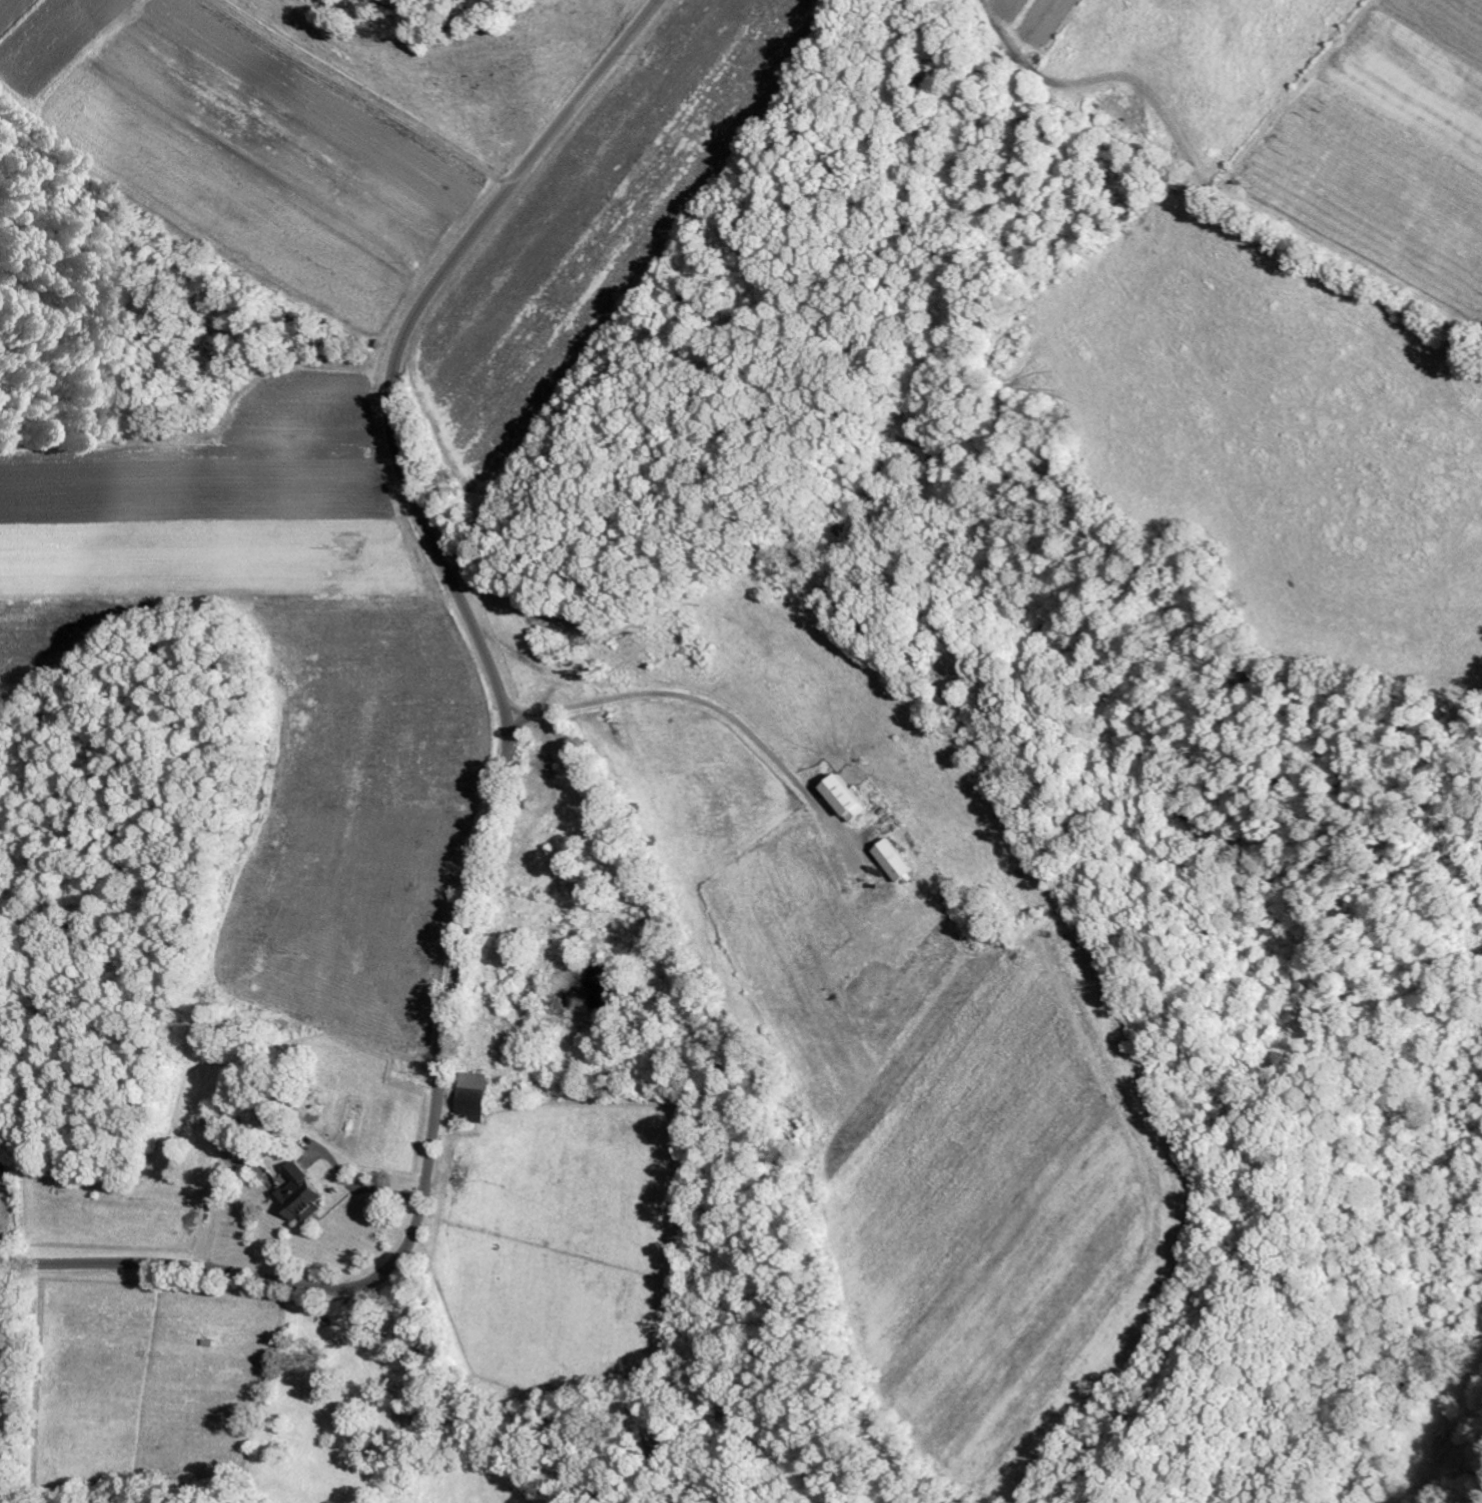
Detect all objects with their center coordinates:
road: (504, 786)
building: (845, 798)
building: (898, 861)
building: (473, 1097)
building: (208, 1135)
building: (299, 1194)
road: (423, 1426)

